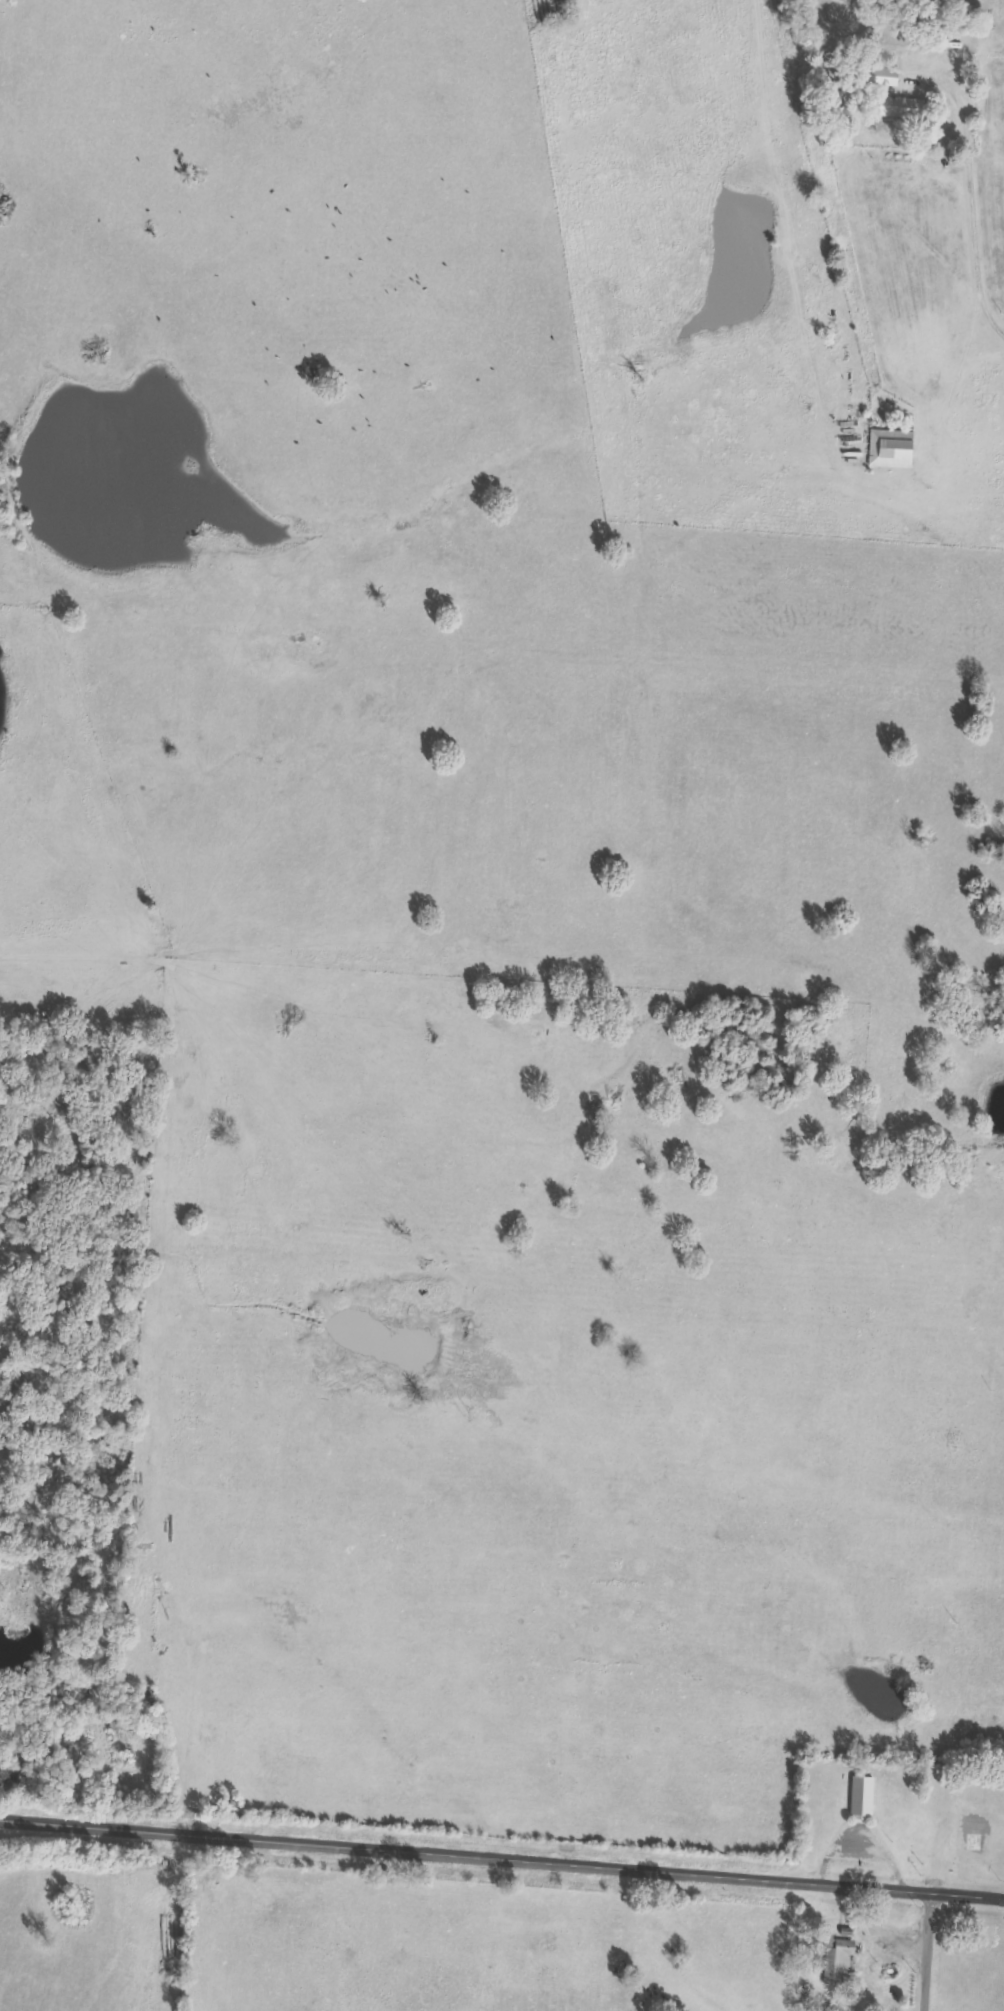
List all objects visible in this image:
building: (896, 98)
road: (977, 212)
road: (980, 363)
road: (953, 396)
building: (892, 450)
building: (863, 1797)
road: (501, 1860)
road: (932, 1953)
building: (839, 1962)

